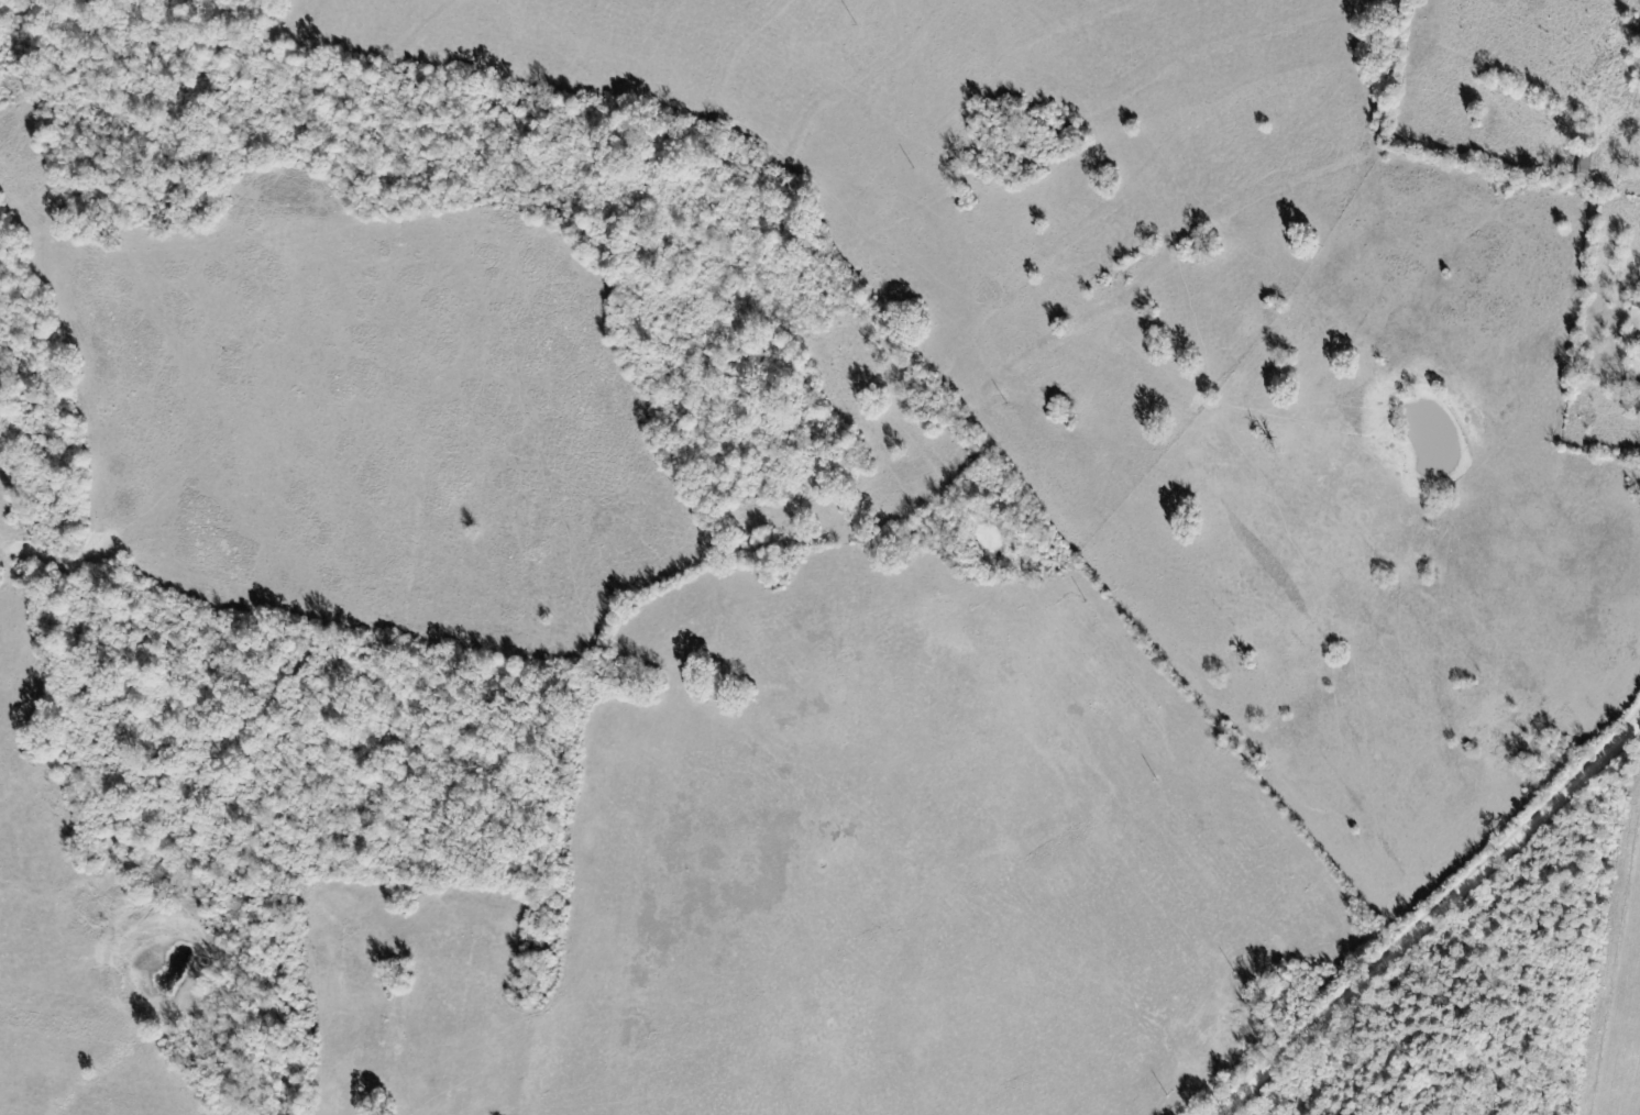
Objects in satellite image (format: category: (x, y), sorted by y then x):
road: (1427, 919)

